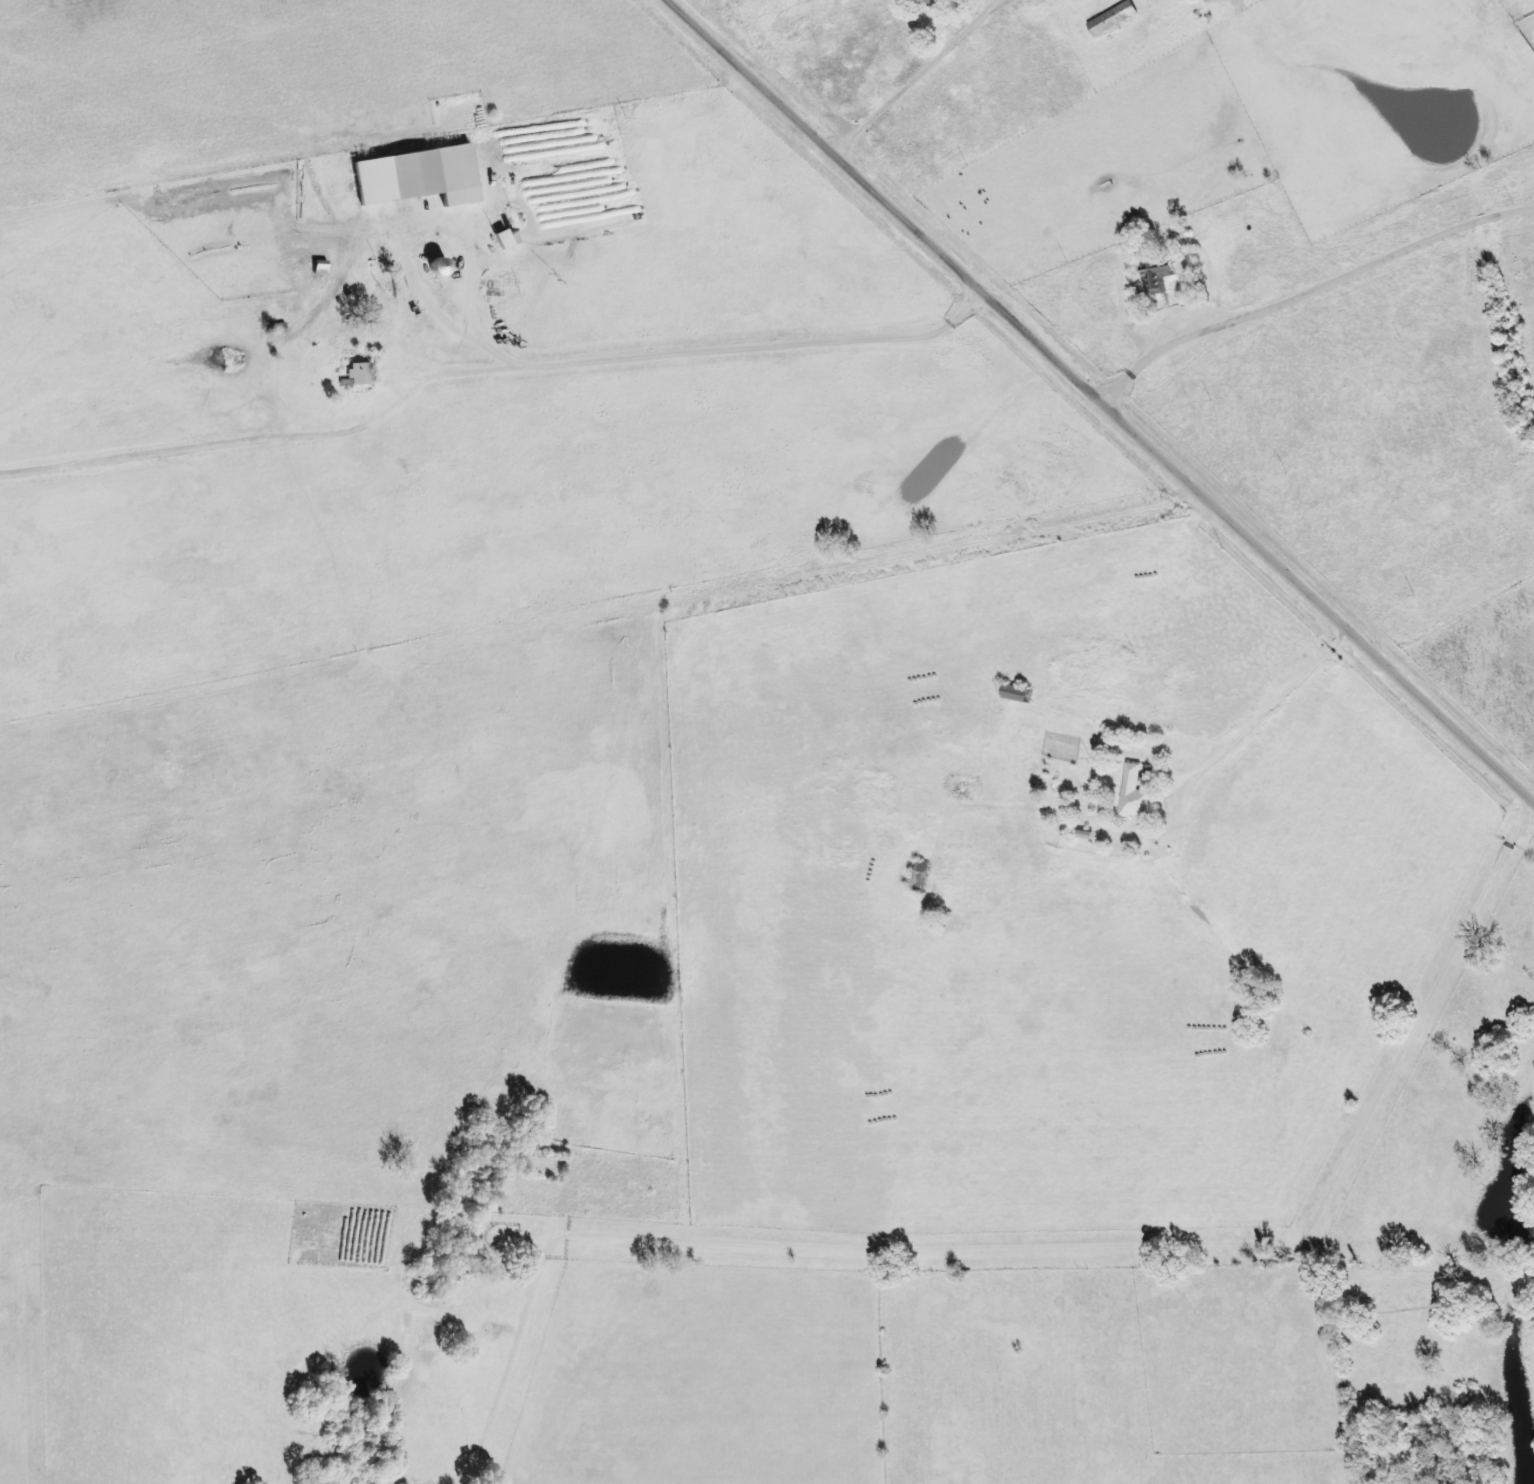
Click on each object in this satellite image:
building: (1074, 0)
building: (945, 2)
building: (1116, 19)
road: (920, 74)
road: (374, 126)
building: (443, 173)
building: (446, 267)
building: (324, 269)
building: (1161, 277)
road: (1315, 285)
building: (363, 374)
road: (1110, 391)
road: (1261, 702)
building: (1139, 794)
building: (924, 878)

